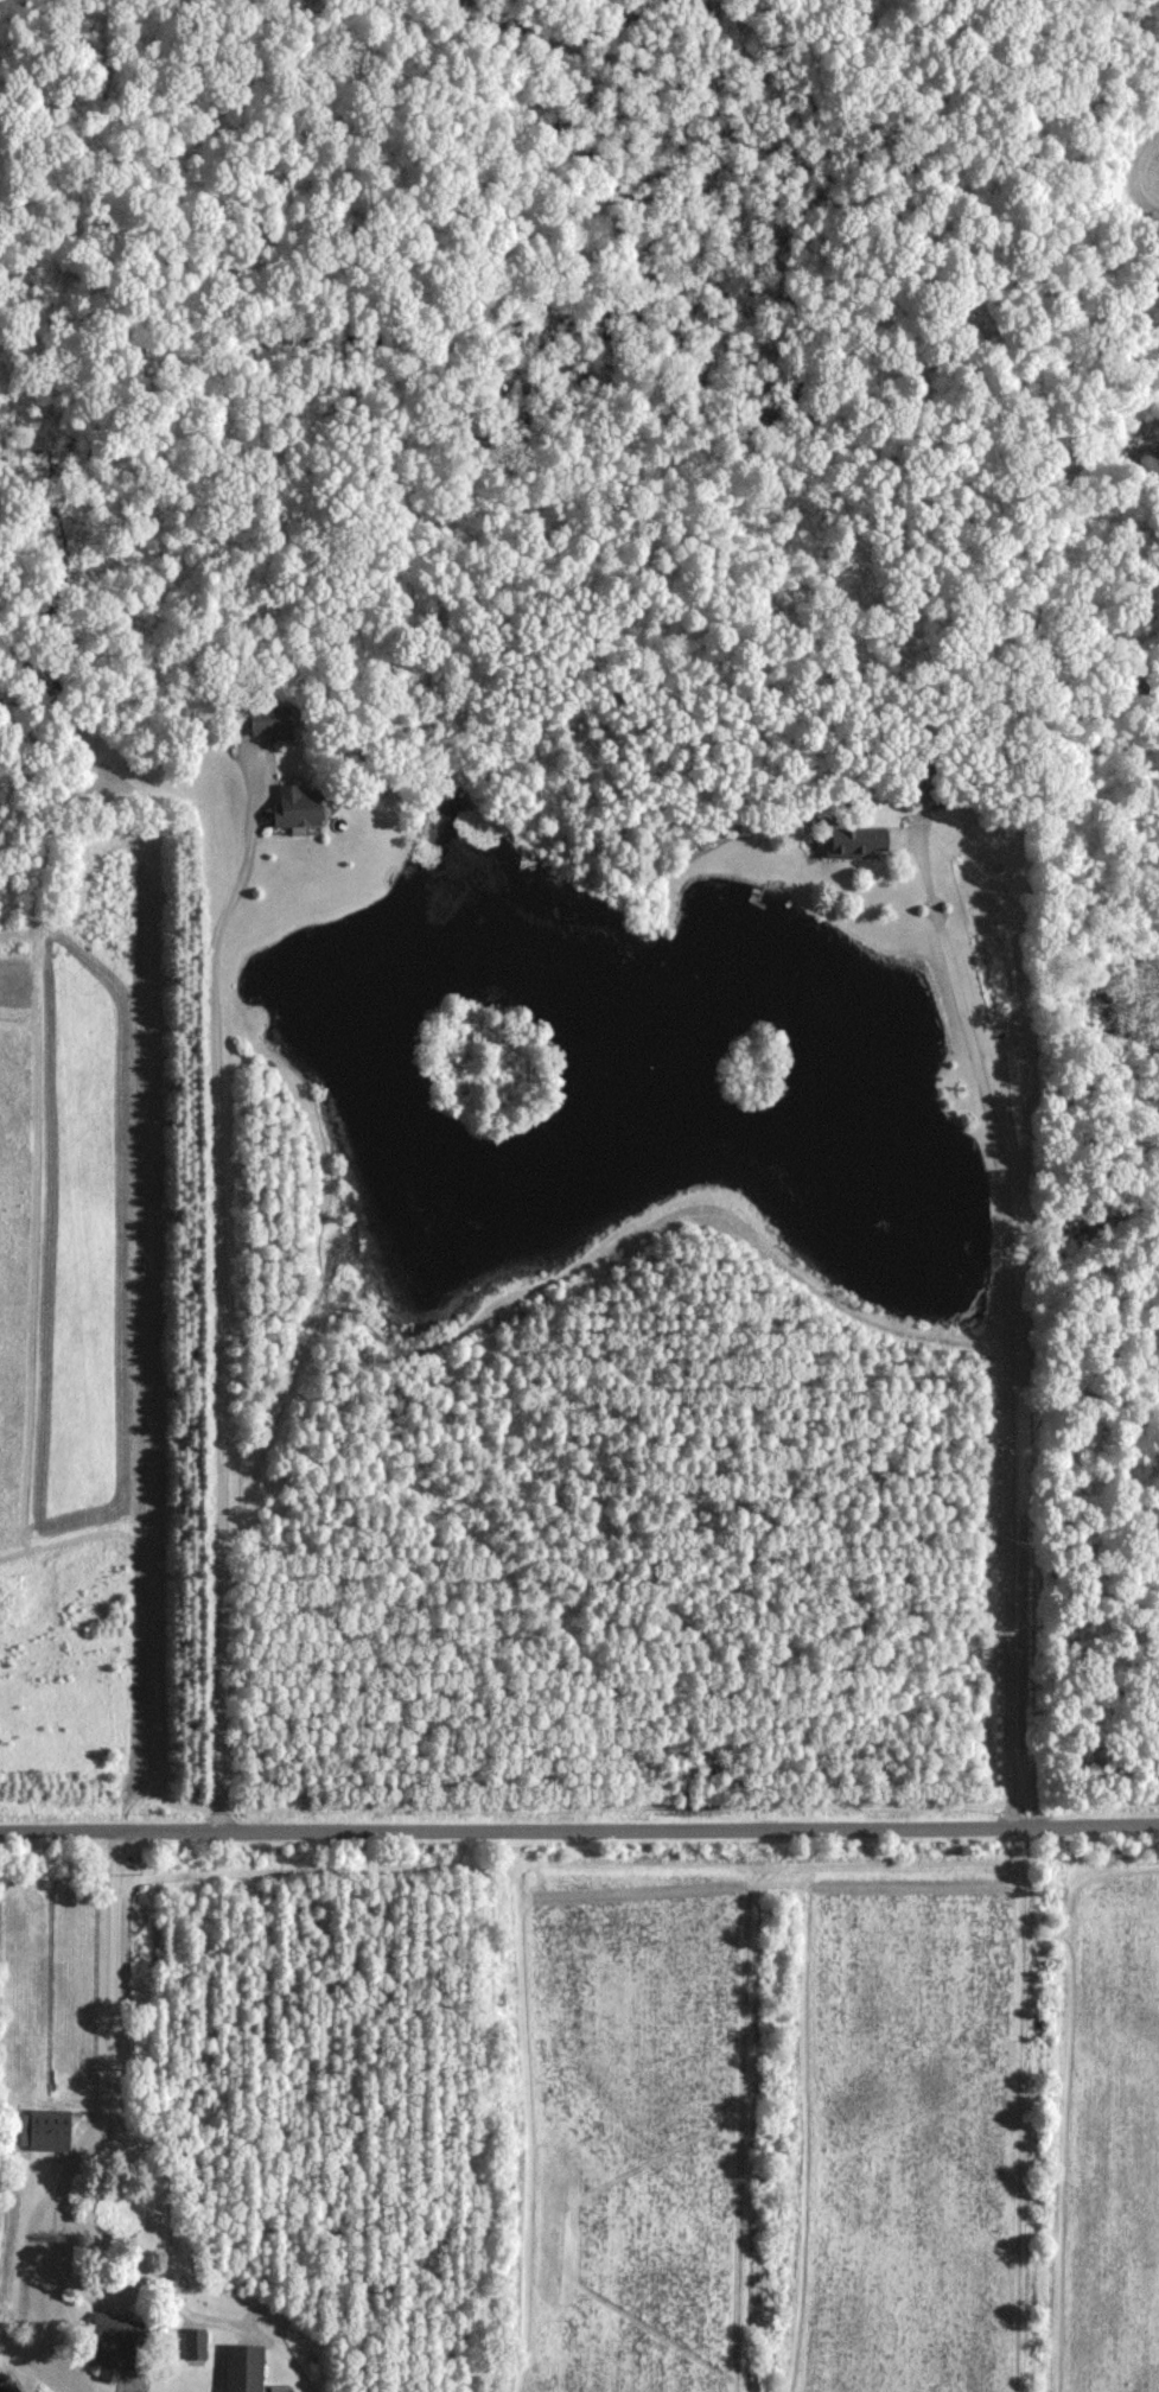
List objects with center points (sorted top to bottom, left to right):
building: (262, 723)
building: (288, 808)
building: (851, 844)
road: (1008, 1325)
road: (219, 1328)
road: (579, 1826)
road: (114, 1970)
building: (39, 2130)
road: (112, 2289)
building: (189, 2343)
building: (97, 2345)
building: (235, 2368)

